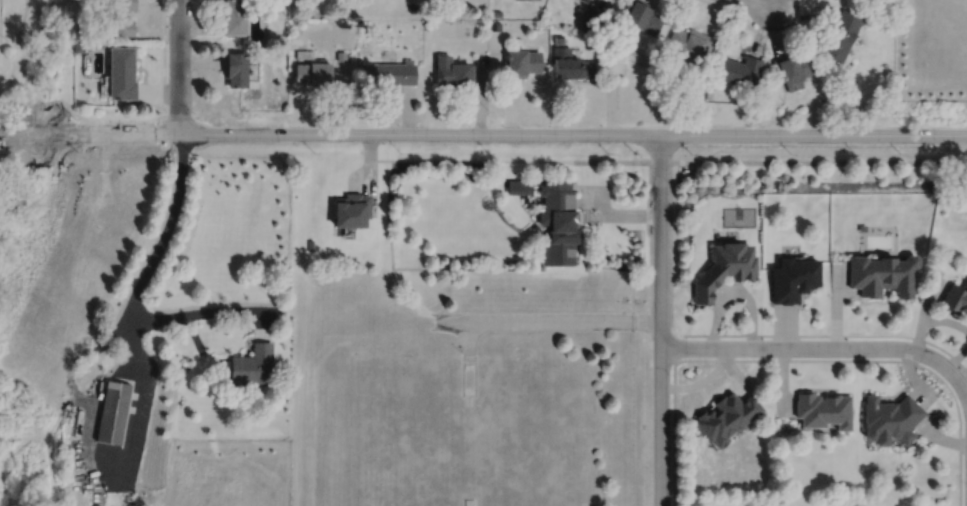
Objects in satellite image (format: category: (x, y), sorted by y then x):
building: (584, 0)
road: (763, 2)
building: (496, 12)
building: (592, 15)
building: (642, 15)
building: (121, 17)
building: (235, 17)
building: (496, 25)
street lamp: (782, 28)
building: (588, 29)
road: (759, 30)
road: (19, 32)
building: (842, 33)
building: (558, 38)
building: (601, 39)
building: (690, 42)
street lamp: (192, 44)
building: (78, 45)
road: (164, 50)
building: (304, 53)
building: (341, 55)
building: (521, 61)
park: (36, 62)
building: (570, 63)
road: (179, 66)
building: (237, 68)
building: (794, 68)
building: (740, 69)
building: (452, 70)
building: (314, 71)
building: (122, 72)
building: (390, 72)
road: (20, 87)
street lamp: (192, 112)
road: (483, 133)
road: (621, 160)
road: (818, 161)
street lamp: (669, 182)
building: (518, 186)
building: (352, 210)
road: (616, 213)
park: (738, 215)
building: (558, 221)
road: (167, 232)
building: (310, 244)
building: (725, 268)
building: (882, 275)
building: (795, 278)
building: (955, 300)
road: (208, 312)
road: (661, 319)
road: (452, 320)
road: (565, 320)
road: (674, 332)
road: (132, 333)
road: (826, 334)
road: (115, 335)
road: (469, 336)
road: (823, 346)
street lamp: (857, 356)
road: (128, 358)
road: (876, 360)
building: (253, 366)
street lamp: (670, 373)
building: (824, 409)
building: (113, 411)
building: (726, 416)
building: (890, 418)
road: (134, 433)
street lamp: (962, 480)
building: (469, 502)

